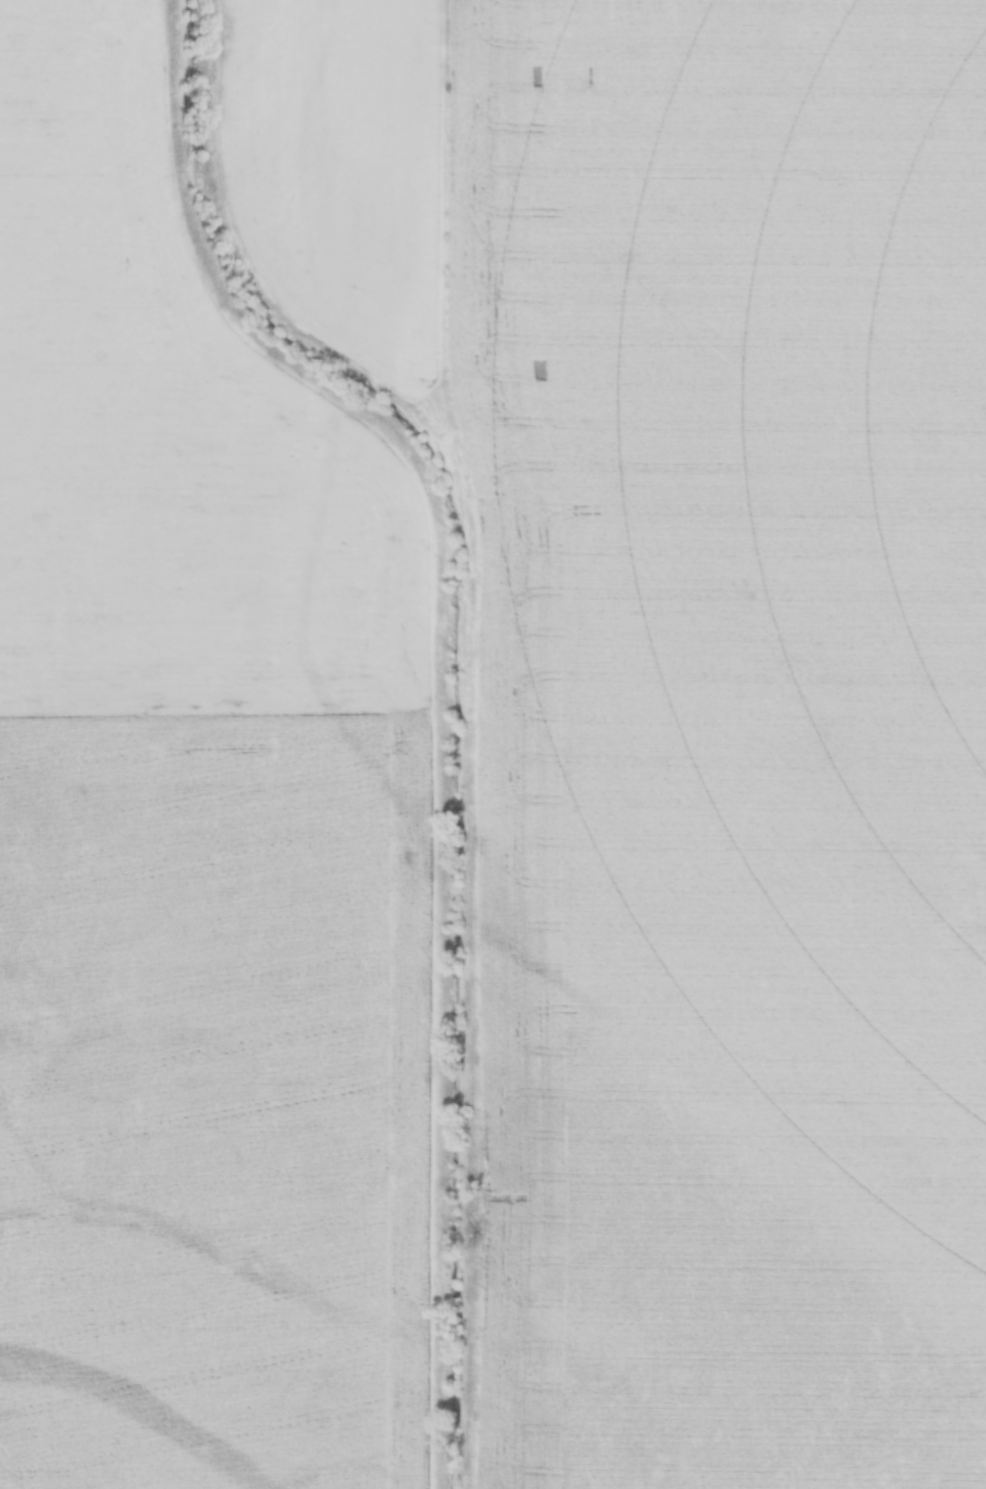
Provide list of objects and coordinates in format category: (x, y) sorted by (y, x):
river: (470, 694)

